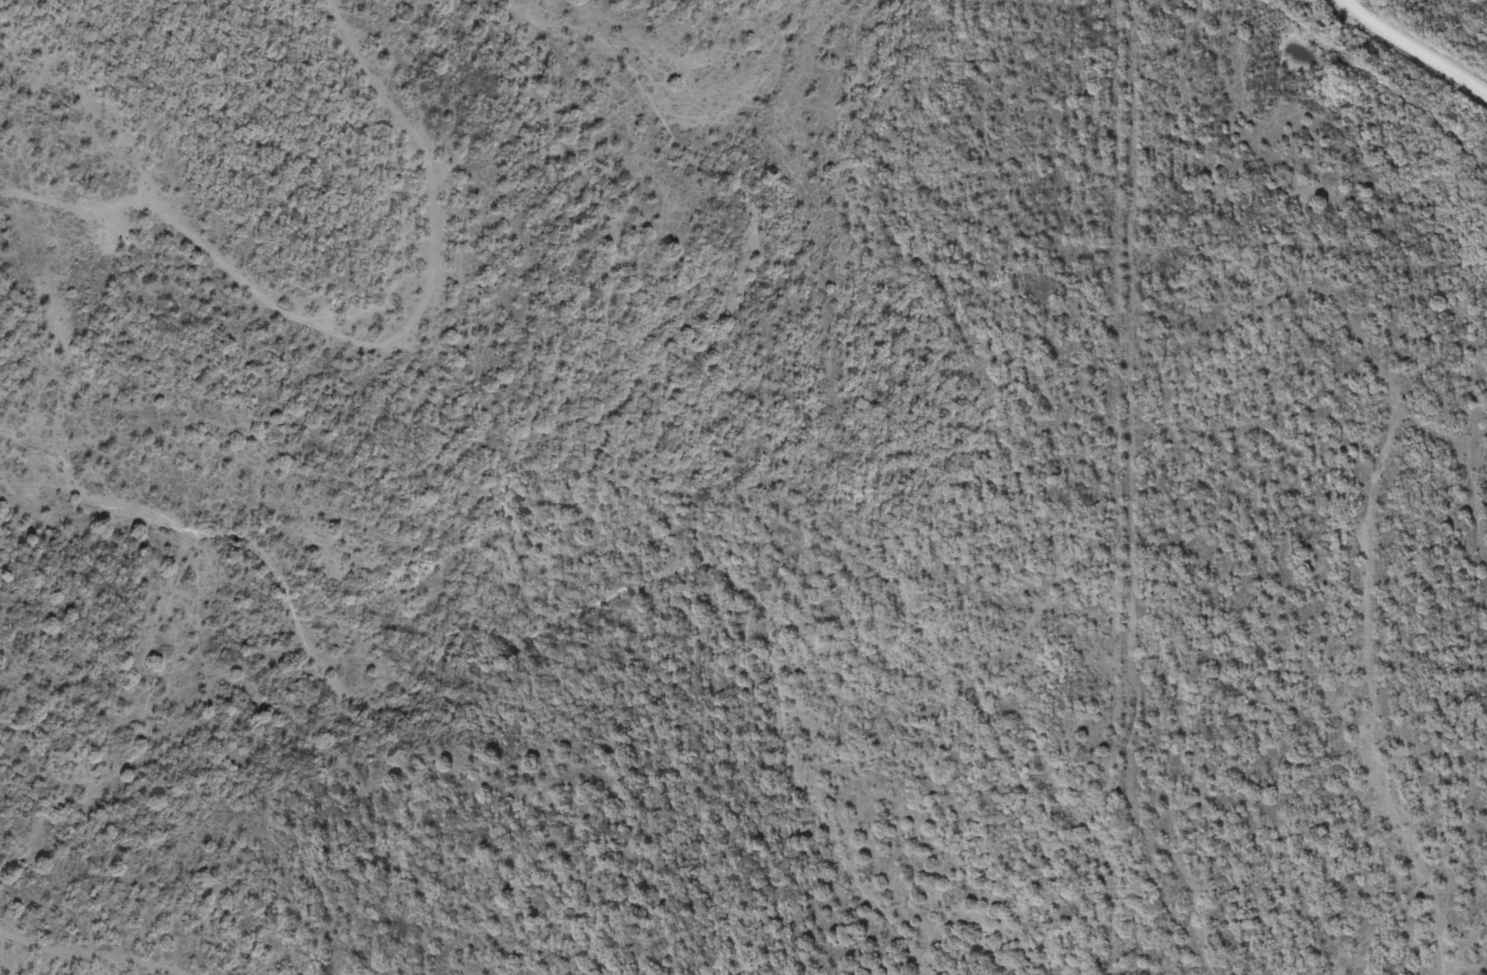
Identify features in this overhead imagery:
road: (1415, 50)

